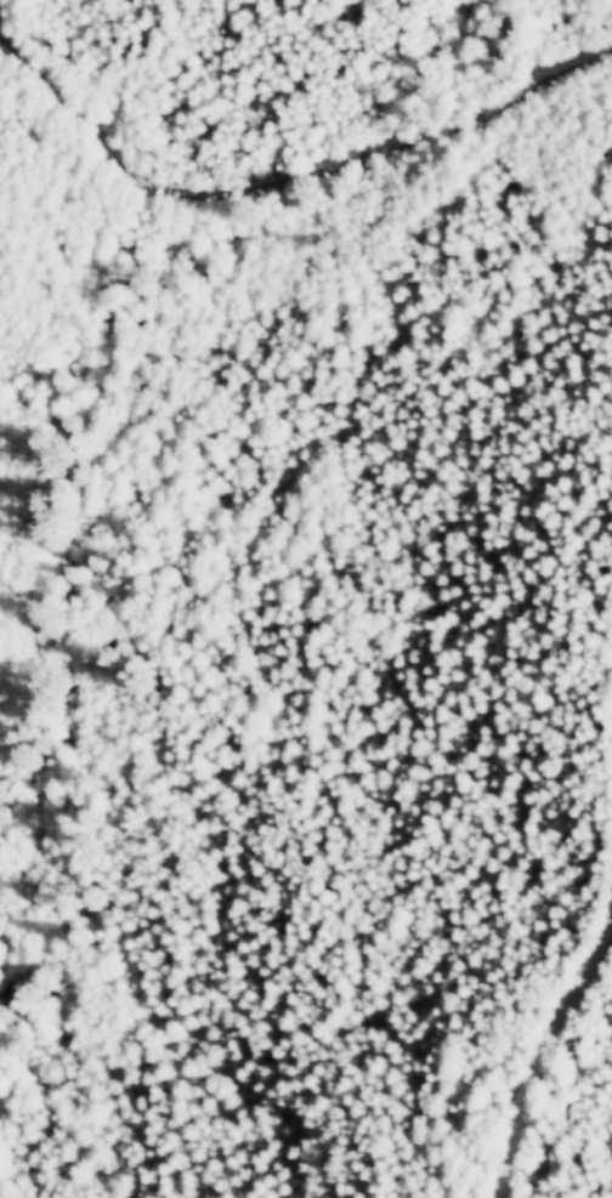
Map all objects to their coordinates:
road: (151, 73)
road: (285, 178)
road: (546, 1058)

